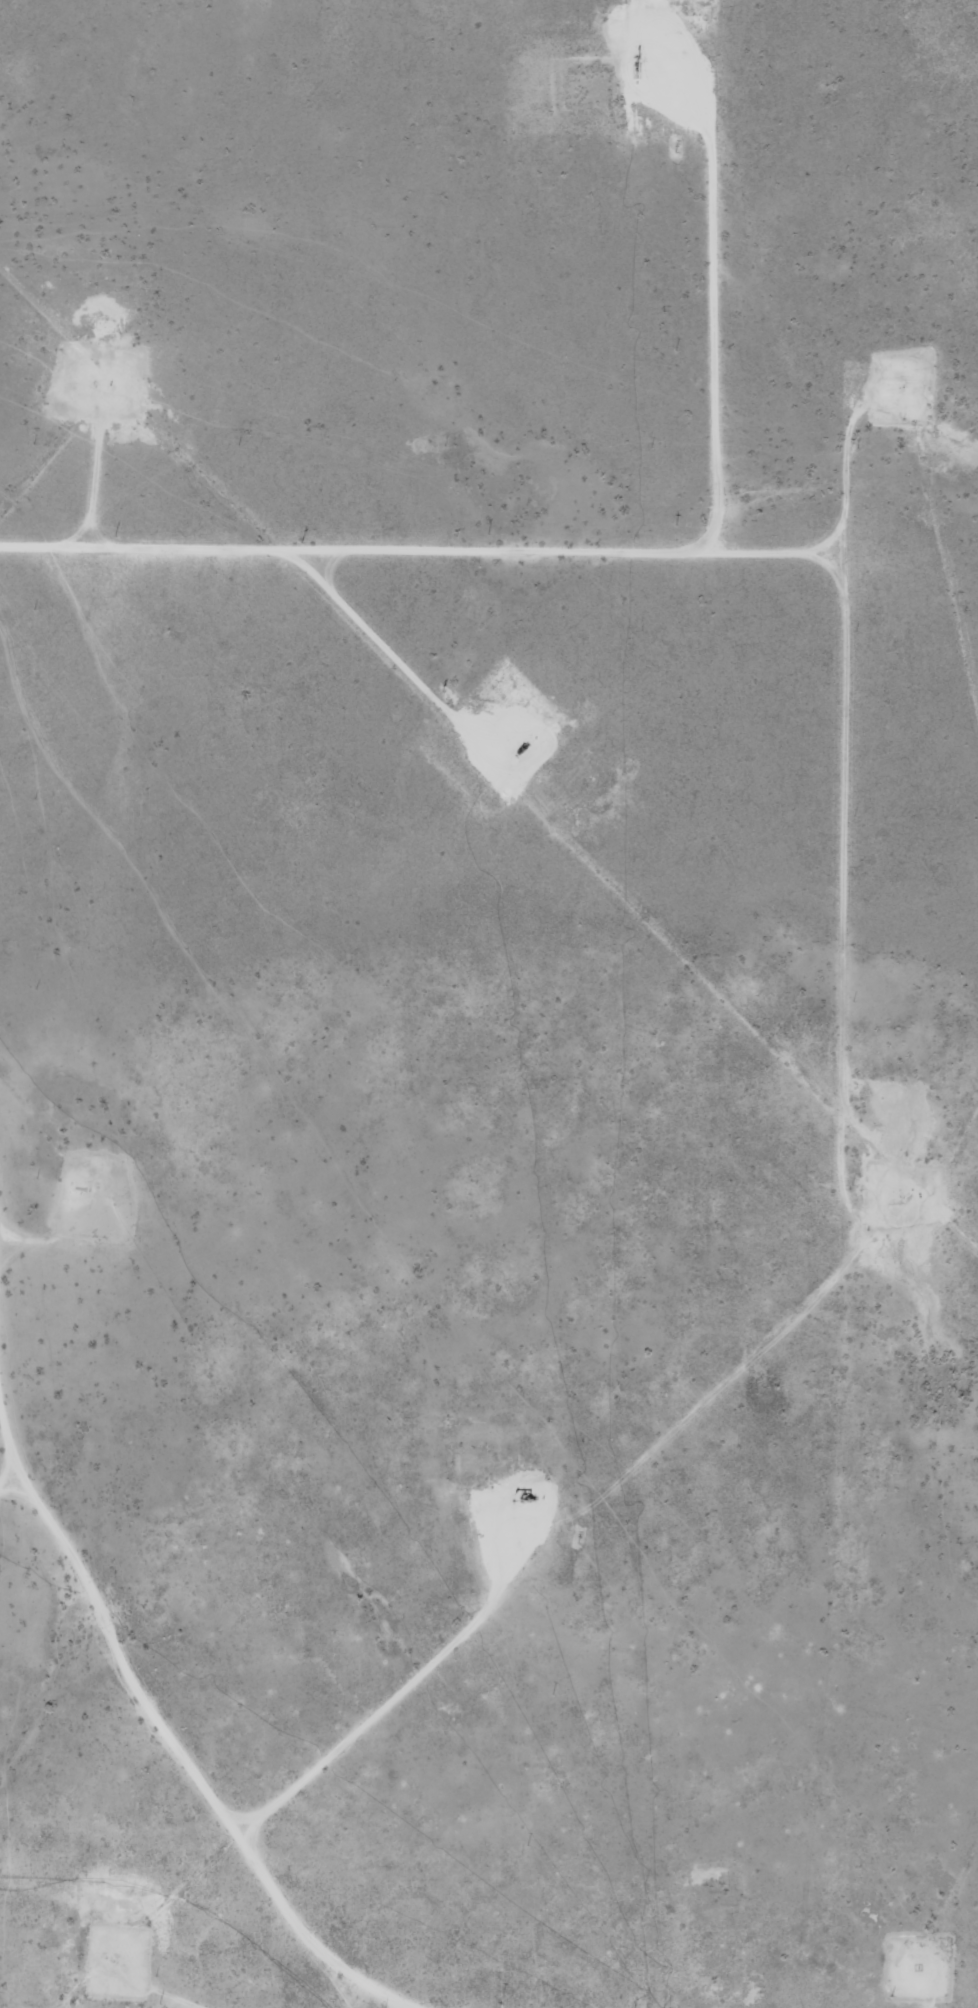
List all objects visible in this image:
road: (739, 528)
road: (182, 1765)

